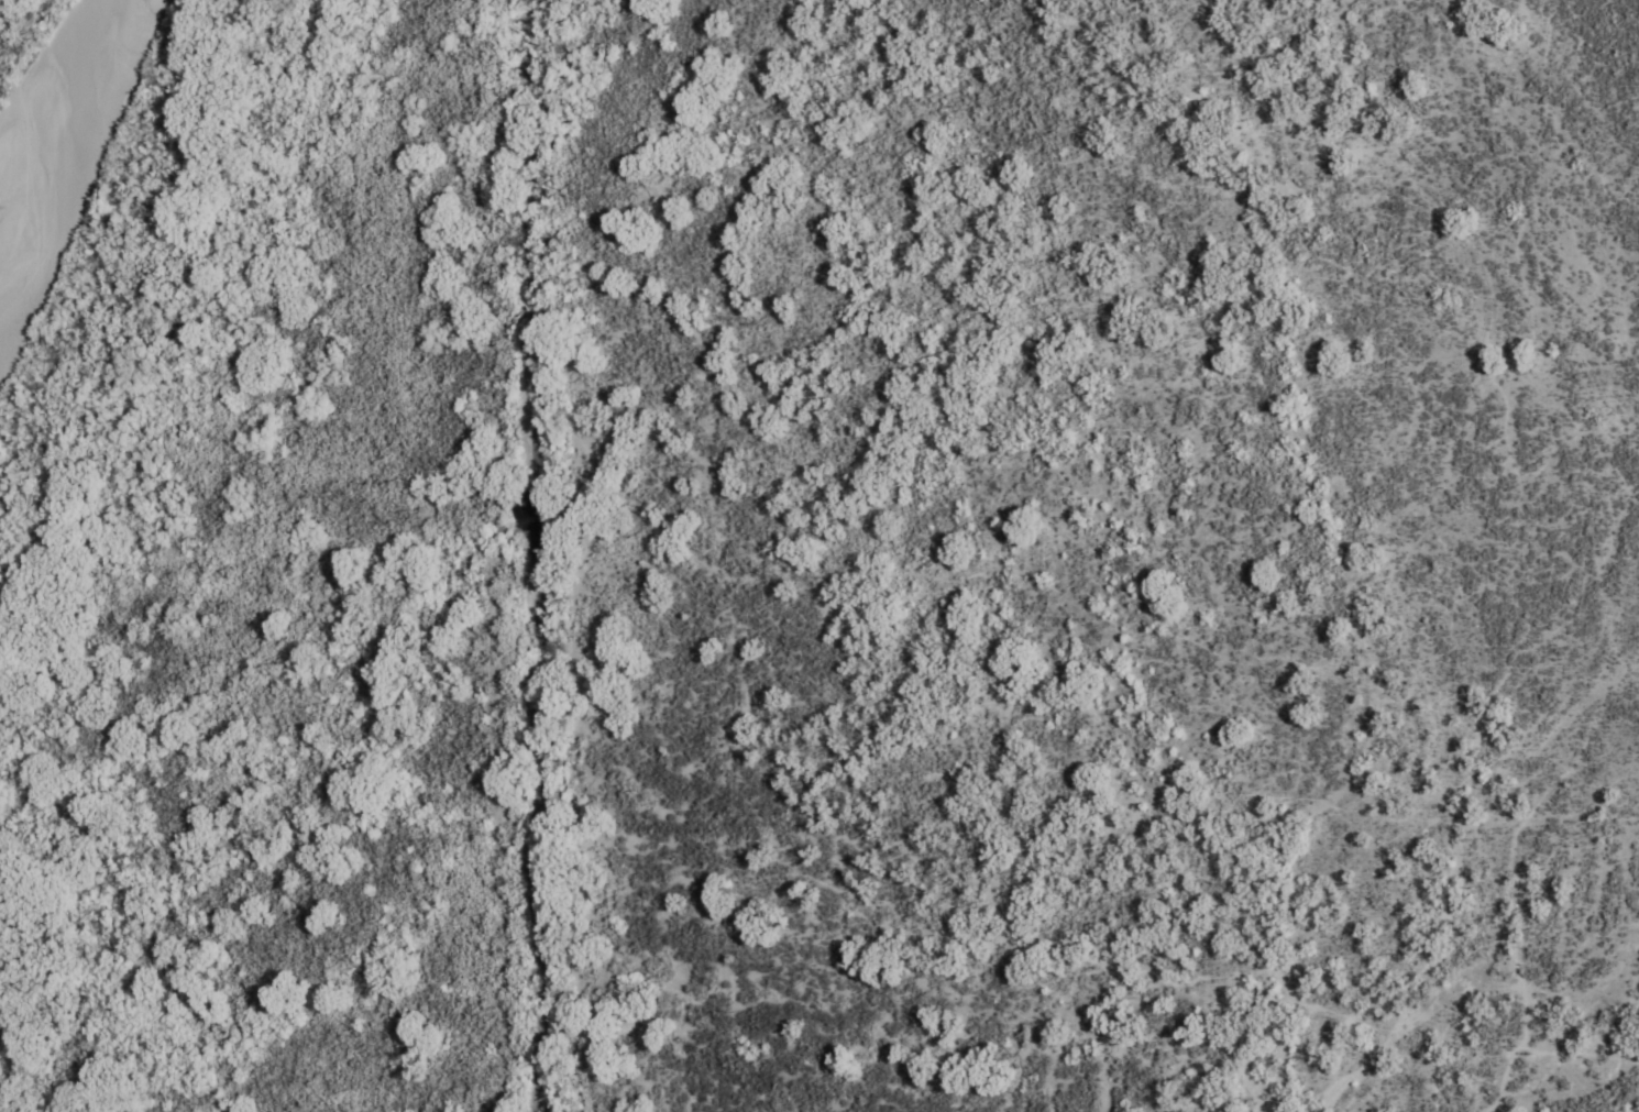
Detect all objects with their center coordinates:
river: (57, 108)

